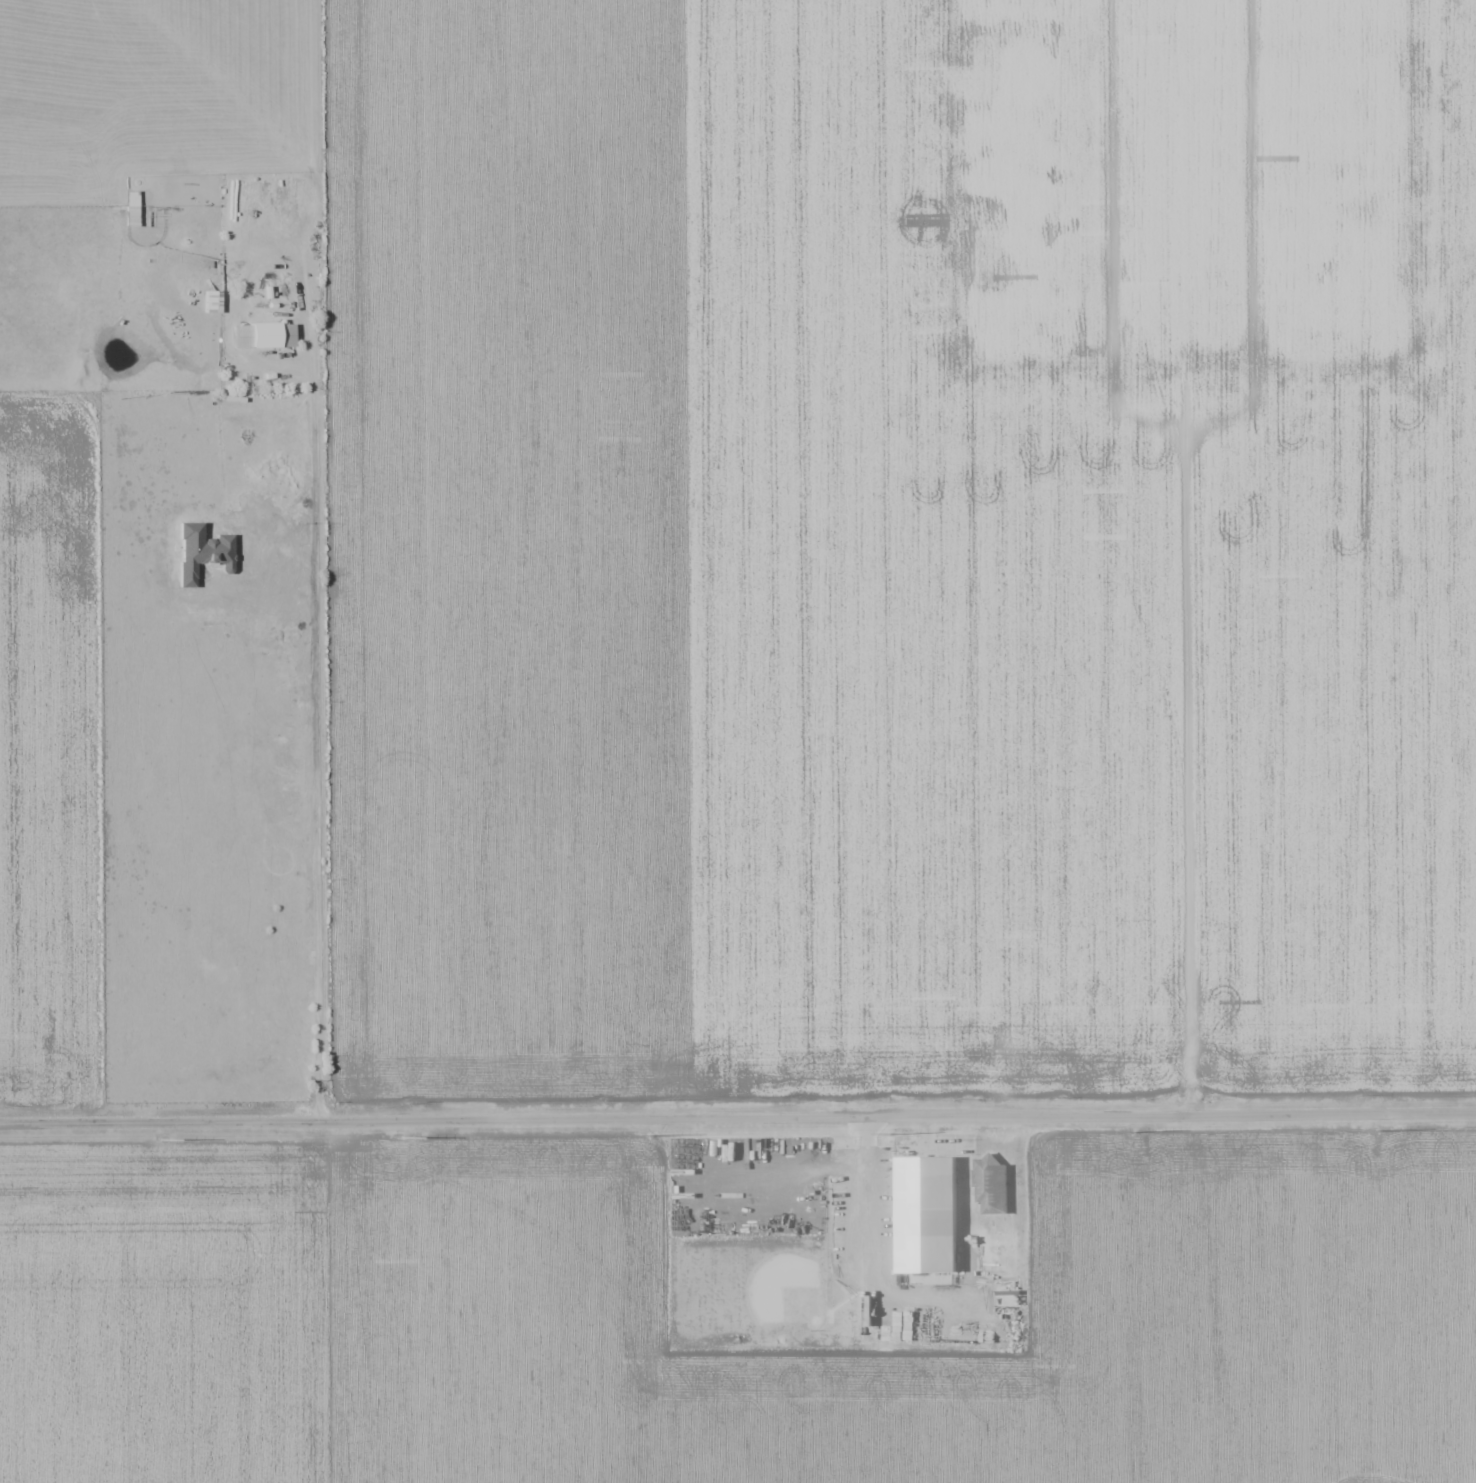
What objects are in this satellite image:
building: (138, 215)
building: (271, 335)
road: (738, 1110)
power tower: (1384, 1129)
power tower: (1136, 1130)
power tower: (893, 1131)
power tower: (652, 1134)
power tower: (405, 1135)
power tower: (158, 1140)
building: (992, 1186)
building: (927, 1214)

